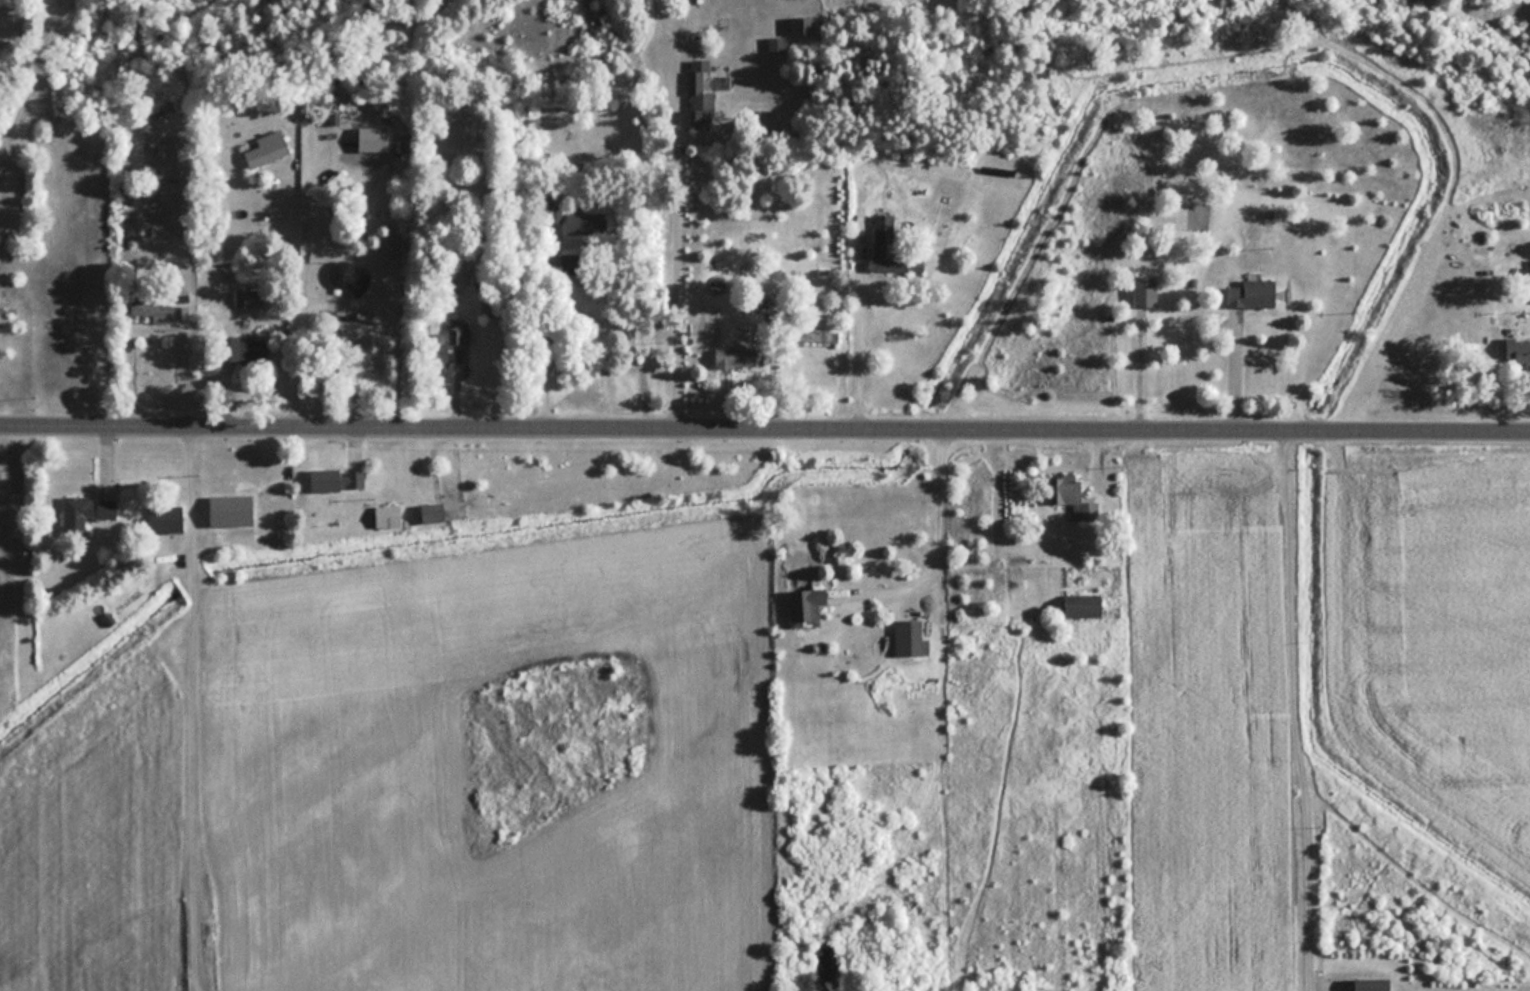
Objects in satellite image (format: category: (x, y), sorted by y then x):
building: (699, 104)
building: (467, 136)
building: (268, 148)
building: (881, 250)
road: (674, 262)
building: (569, 271)
building: (348, 276)
building: (1146, 290)
building: (1253, 293)
building: (248, 296)
road: (295, 297)
building: (488, 308)
building: (151, 309)
building: (367, 314)
road: (859, 331)
building: (457, 332)
building: (817, 335)
building: (1517, 349)
building: (738, 355)
road: (1234, 369)
road: (185, 370)
road: (765, 428)
building: (337, 478)
building: (1071, 495)
building: (86, 510)
building: (434, 512)
building: (388, 515)
building: (166, 517)
road: (938, 519)
building: (1085, 605)
building: (806, 606)
building: (910, 636)
road: (1294, 710)
building: (1372, 984)

